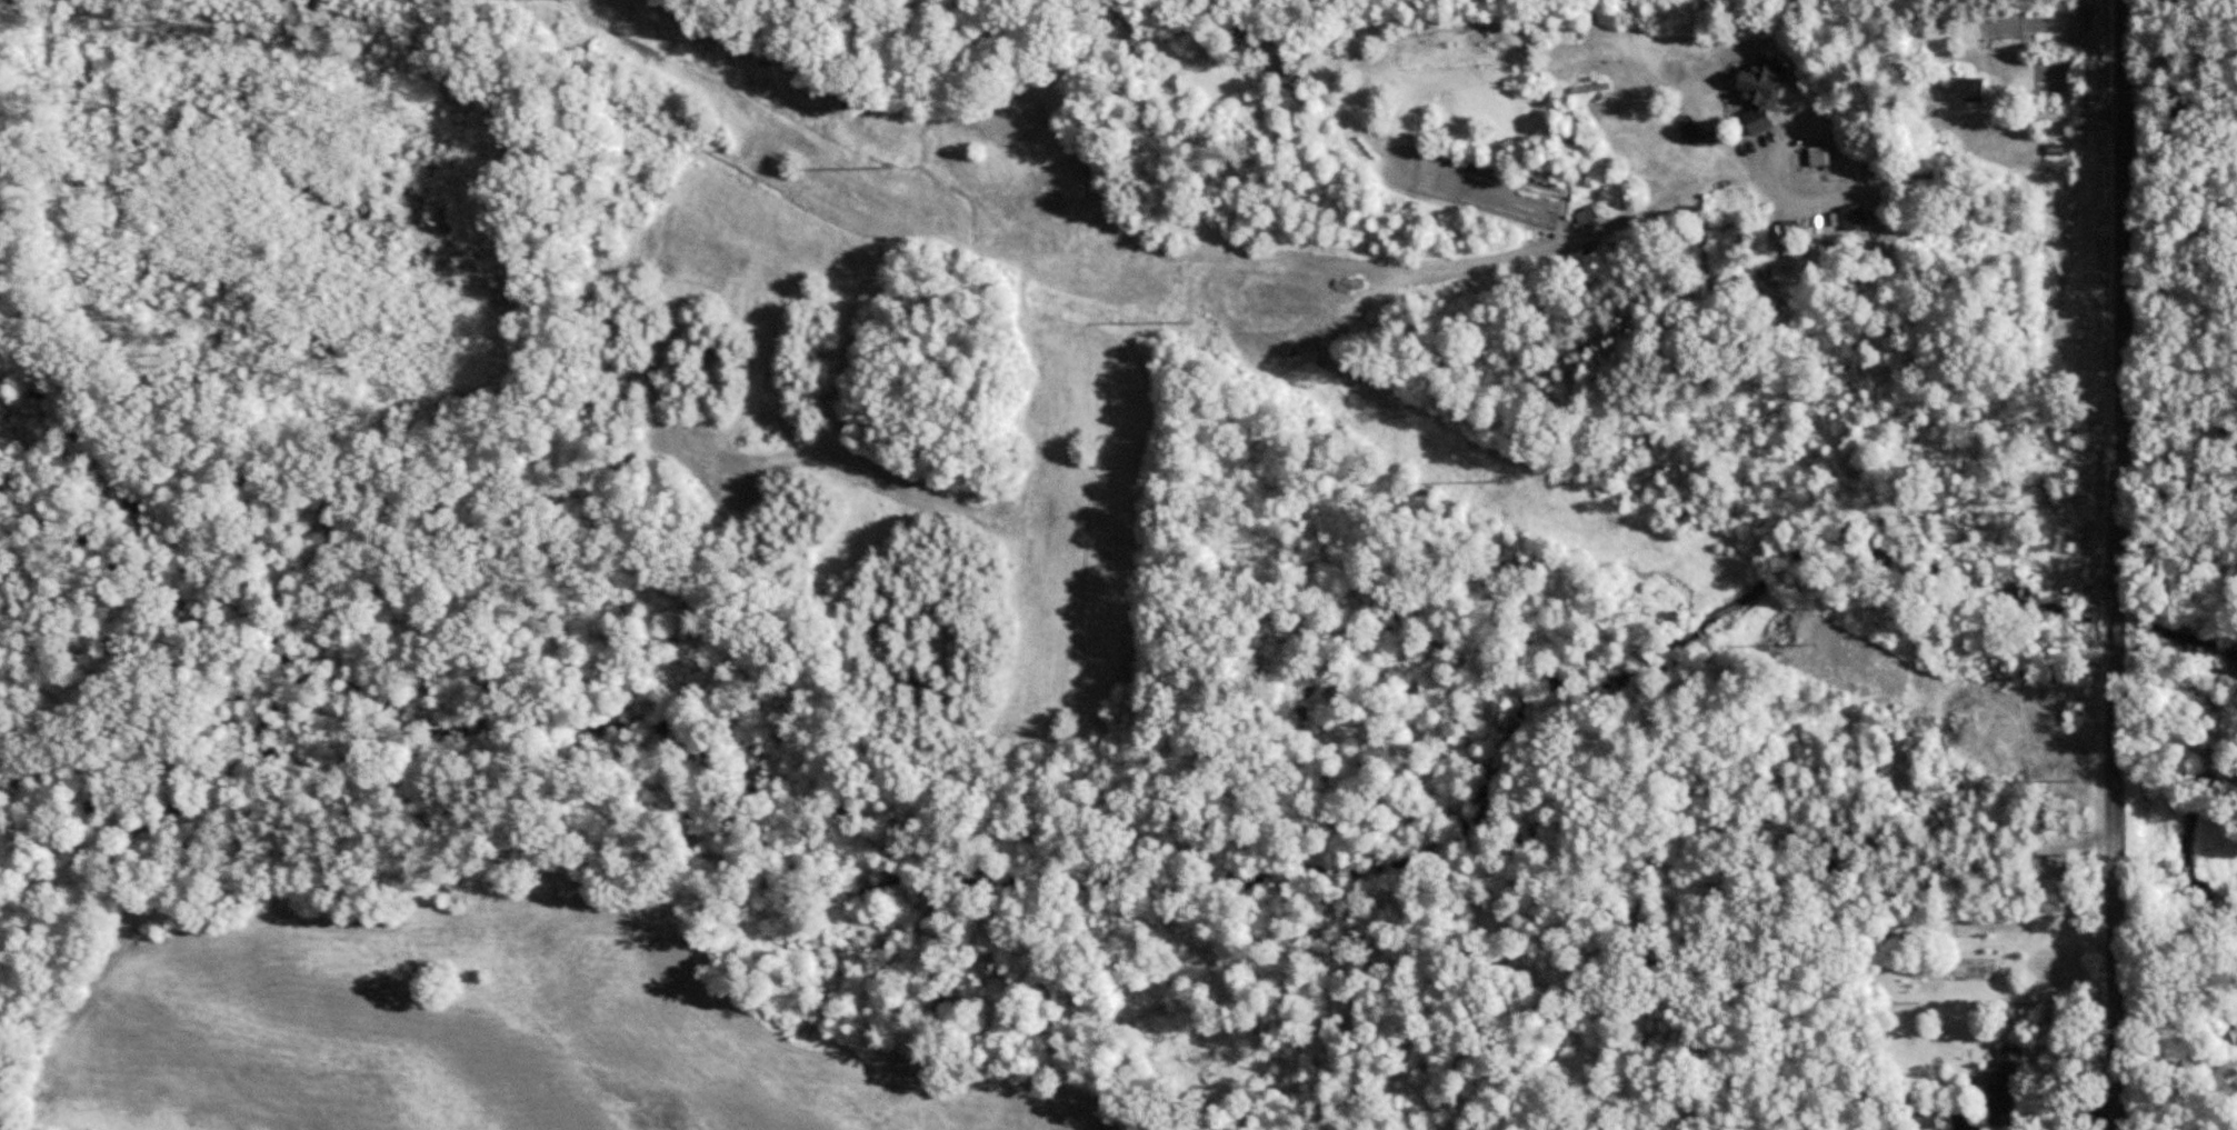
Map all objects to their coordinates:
road: (2180, 42)
building: (1594, 88)
building: (1971, 90)
building: (1709, 118)
building: (1820, 156)
building: (1877, 162)
power tower: (892, 166)
road: (1869, 186)
building: (1587, 216)
building: (1871, 266)
power tower: (1190, 317)
park: (2183, 474)
power tower: (1495, 476)
road: (2117, 564)
power tower: (1810, 638)
power tower: (2077, 777)
building: (1964, 913)
building: (2009, 1089)
building: (1923, 1118)

